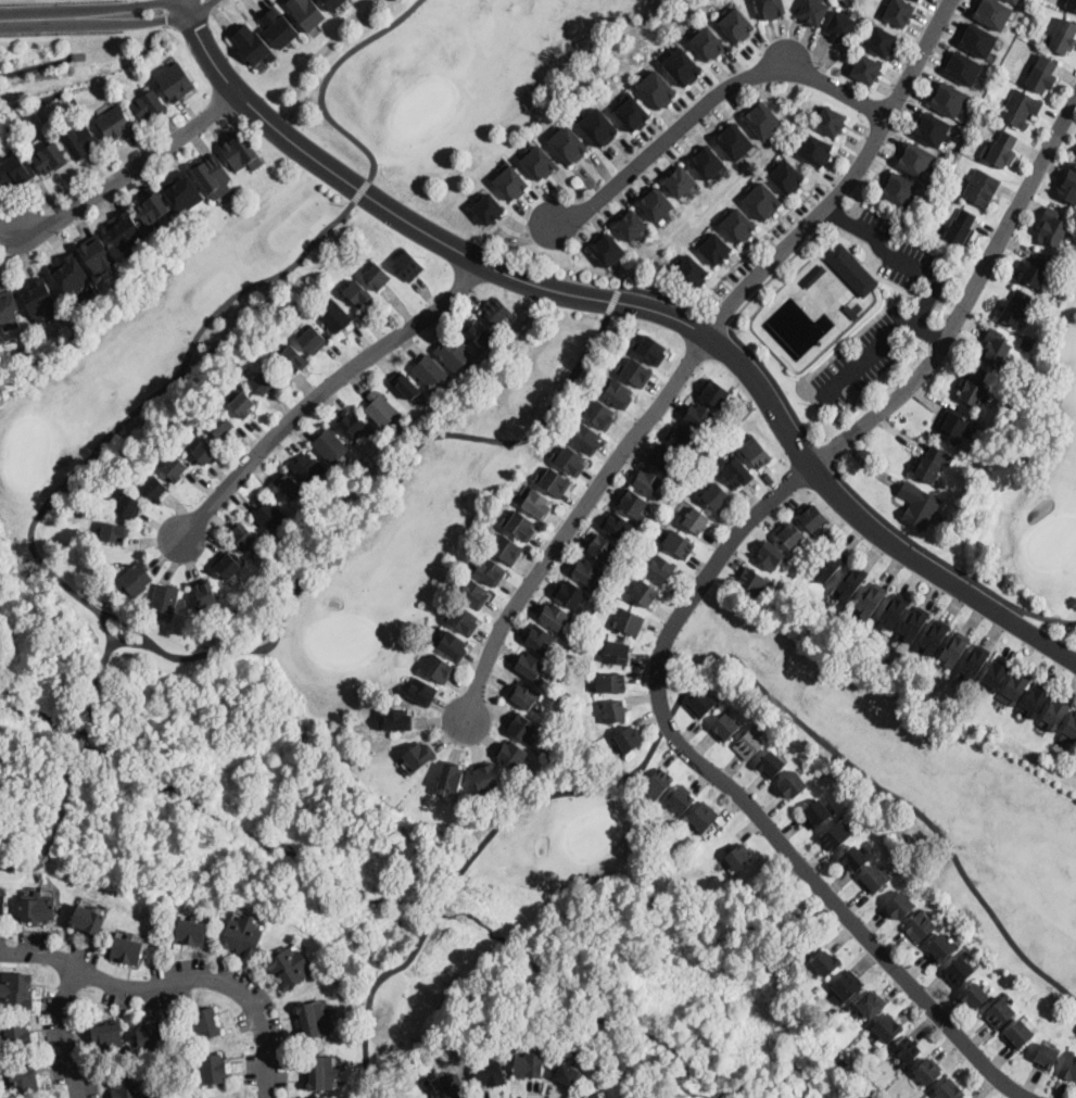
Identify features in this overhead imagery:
road: (13, 0)
building: (917, 0)
building: (1014, 1)
building: (331, 4)
building: (1072, 4)
building: (771, 9)
road: (94, 11)
building: (813, 11)
building: (305, 13)
building: (898, 13)
building: (993, 13)
building: (736, 25)
building: (840, 26)
building: (277, 27)
building: (1063, 37)
building: (978, 40)
building: (161, 41)
building: (881, 41)
building: (251, 43)
building: (707, 43)
building: (682, 67)
building: (963, 68)
building: (869, 71)
building: (1042, 75)
road: (330, 77)
building: (175, 81)
building: (656, 89)
road: (708, 98)
building: (948, 99)
building: (149, 105)
building: (1021, 108)
building: (633, 114)
building: (762, 119)
building: (828, 119)
building: (115, 123)
building: (597, 126)
building: (933, 129)
building: (79, 140)
building: (734, 141)
building: (568, 144)
building: (813, 149)
building: (1003, 149)
building: (240, 151)
building: (49, 157)
building: (1075, 157)
building: (916, 160)
building: (539, 163)
building: (708, 163)
building: (16, 171)
road: (135, 172)
building: (213, 176)
building: (786, 176)
building: (681, 181)
road: (846, 181)
building: (510, 182)
building: (1067, 186)
building: (982, 187)
building: (900, 189)
road: (360, 190)
building: (182, 191)
building: (760, 200)
building: (656, 204)
building: (151, 207)
building: (488, 207)
road: (839, 216)
building: (737, 225)
building: (631, 226)
building: (1053, 226)
building: (961, 228)
building: (126, 230)
building: (713, 248)
building: (608, 250)
building: (96, 254)
building: (407, 265)
building: (851, 269)
building: (1036, 269)
building: (689, 272)
road: (773, 274)
building: (71, 275)
building: (813, 275)
building: (377, 276)
building: (357, 293)
road: (658, 294)
building: (39, 299)
road: (611, 300)
road: (967, 300)
parking lot: (923, 305)
road: (642, 306)
road: (923, 307)
building: (1015, 307)
building: (8, 308)
building: (496, 311)
building: (850, 311)
building: (332, 315)
road: (712, 321)
building: (480, 332)
road: (926, 332)
building: (313, 339)
building: (1026, 343)
building: (995, 348)
building: (650, 350)
building: (453, 354)
building: (293, 358)
building: (429, 371)
building: (634, 371)
building: (264, 381)
road: (773, 383)
building: (406, 384)
road: (322, 388)
building: (974, 388)
building: (617, 393)
building: (714, 393)
building: (242, 403)
building: (382, 408)
building: (599, 413)
building: (698, 415)
building: (353, 424)
building: (220, 425)
building: (951, 427)
road: (104, 438)
building: (584, 438)
building: (683, 438)
building: (329, 444)
building: (205, 452)
building: (756, 452)
road: (822, 454)
building: (663, 458)
building: (569, 459)
building: (932, 464)
building: (175, 467)
building: (307, 468)
building: (737, 472)
building: (553, 481)
building: (648, 482)
building: (289, 484)
building: (154, 489)
park: (1028, 489)
building: (716, 495)
building: (535, 503)
building: (632, 503)
building: (919, 505)
building: (128, 506)
road: (367, 507)
building: (269, 515)
building: (812, 517)
building: (696, 519)
road: (572, 520)
building: (519, 526)
building: (617, 526)
building: (114, 532)
building: (790, 534)
building: (241, 535)
park: (304, 538)
building: (675, 542)
building: (600, 546)
building: (505, 548)
building: (769, 555)
road: (945, 563)
building: (229, 564)
building: (830, 565)
building: (660, 568)
building: (489, 571)
building: (587, 572)
building: (136, 579)
building: (754, 580)
building: (849, 582)
building: (471, 592)
building: (570, 593)
building: (645, 593)
building: (205, 594)
building: (164, 598)
building: (871, 600)
building: (894, 610)
building: (555, 616)
building: (461, 618)
road: (125, 621)
building: (630, 622)
building: (912, 624)
building: (934, 636)
building: (539, 639)
building: (451, 645)
building: (953, 649)
building: (617, 652)
building: (973, 662)
building: (530, 666)
building: (436, 667)
building: (993, 674)
building: (610, 683)
building: (1015, 687)
building: (420, 691)
road: (768, 692)
building: (523, 694)
building: (1035, 701)
building: (700, 703)
building: (615, 710)
building: (1055, 714)
building: (397, 720)
building: (726, 725)
building: (521, 727)
building: (1069, 731)
building: (629, 739)
road: (78, 743)
building: (748, 744)
building: (510, 753)
building: (418, 757)
building: (771, 763)
building: (451, 777)
building: (484, 778)
building: (658, 783)
building: (792, 785)
park: (937, 790)
road: (740, 795)
building: (680, 798)
building: (818, 813)
building: (702, 816)
road: (53, 833)
building: (836, 834)
building: (738, 856)
building: (853, 858)
building: (874, 878)
road: (439, 904)
building: (1, 906)
building: (899, 906)
building: (38, 909)
building: (86, 921)
building: (920, 926)
building: (191, 931)
building: (242, 935)
building: (941, 948)
building: (127, 949)
building: (826, 962)
building: (289, 967)
building: (958, 970)
road: (176, 981)
building: (847, 986)
building: (16, 990)
road: (368, 995)
building: (974, 997)
building: (869, 1004)
building: (999, 1011)
building: (313, 1019)
building: (203, 1023)
building: (887, 1028)
road: (69, 1032)
building: (1018, 1034)
building: (106, 1035)
building: (15, 1037)
building: (152, 1037)
building: (907, 1049)
building: (1046, 1057)
building: (843, 1061)
building: (529, 1063)
building: (1068, 1067)
building: (213, 1069)
building: (927, 1071)
building: (320, 1072)
building: (488, 1073)
building: (566, 1074)
building: (23, 1082)
building: (127, 1087)
building: (453, 1088)
building: (949, 1090)
building: (868, 1091)
building: (593, 1096)
building: (967, 1097)

